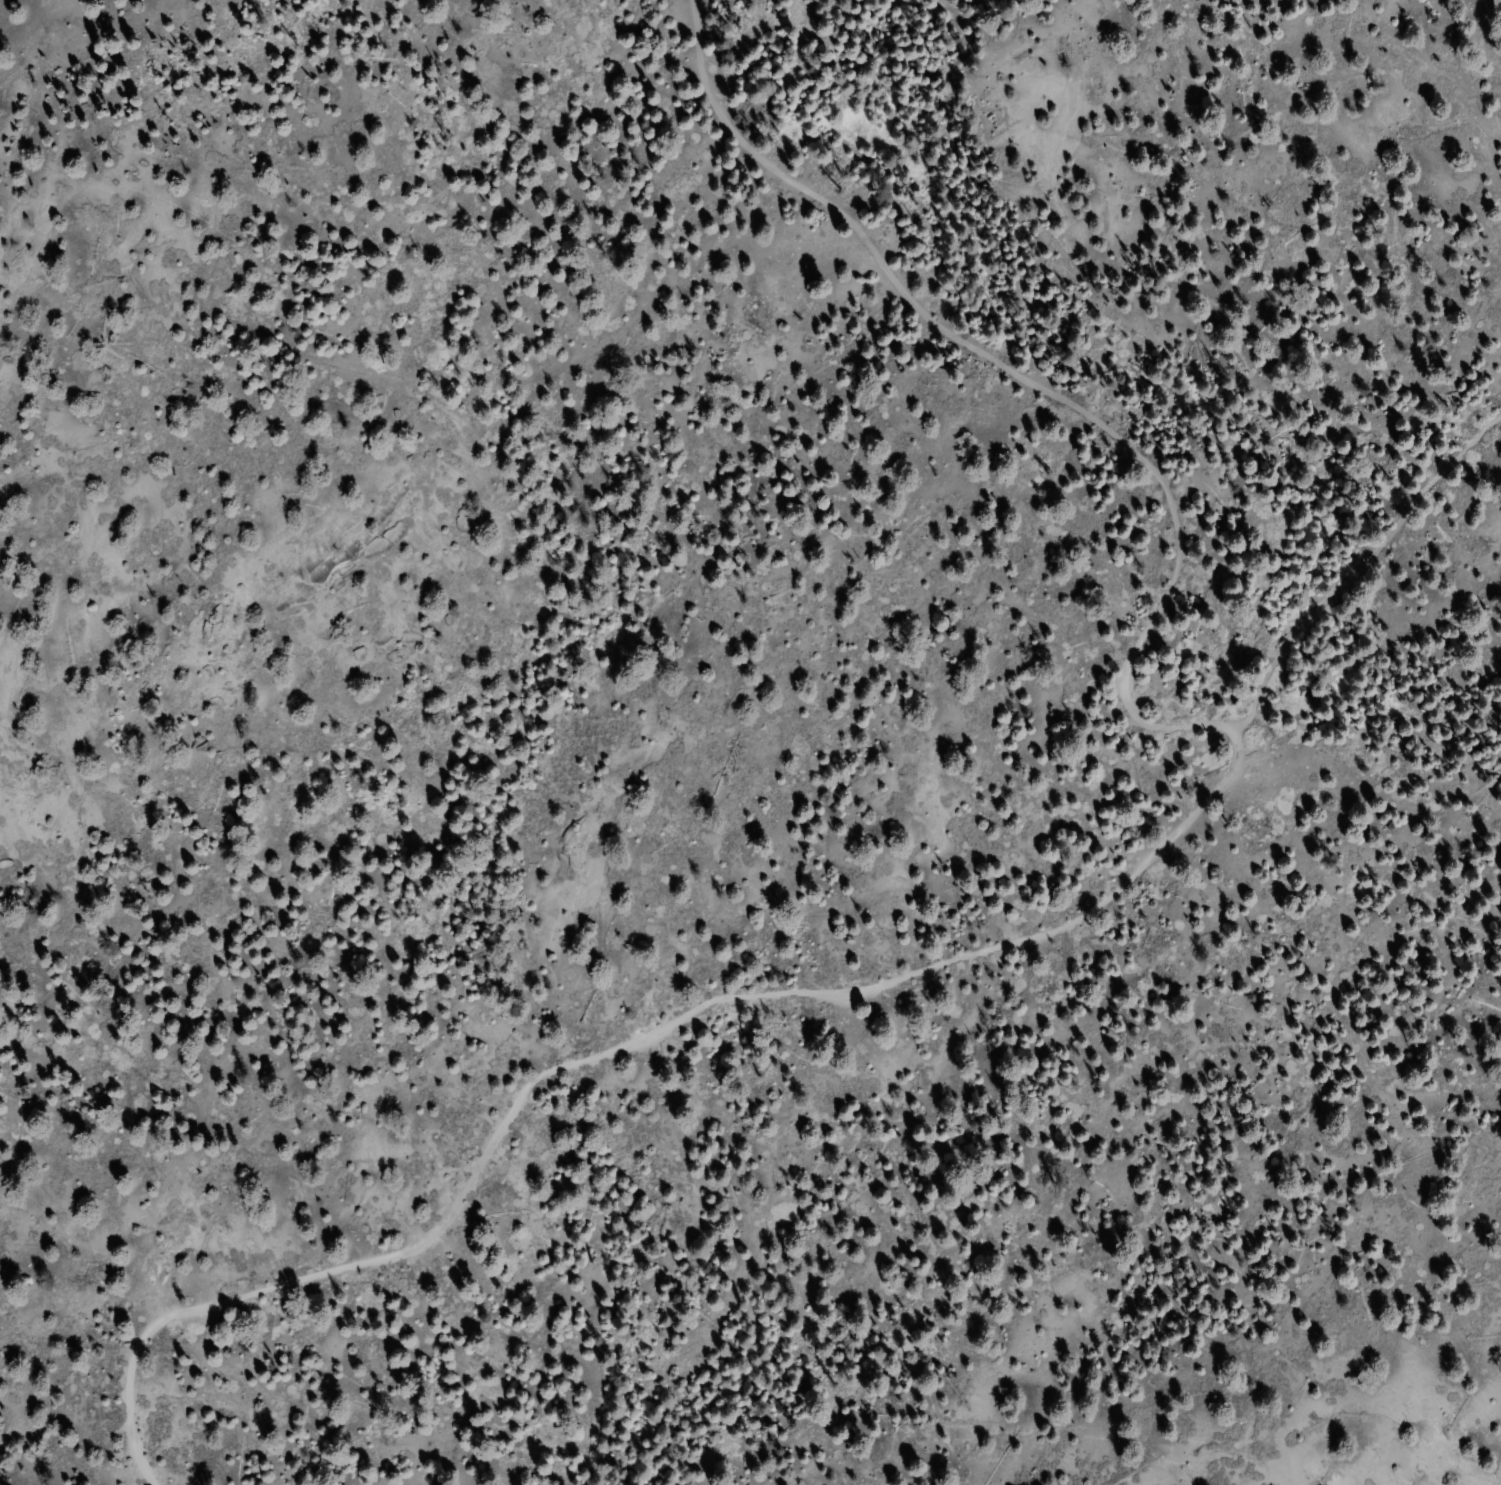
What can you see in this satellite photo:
road: (1332, 591)
road: (1112, 902)

